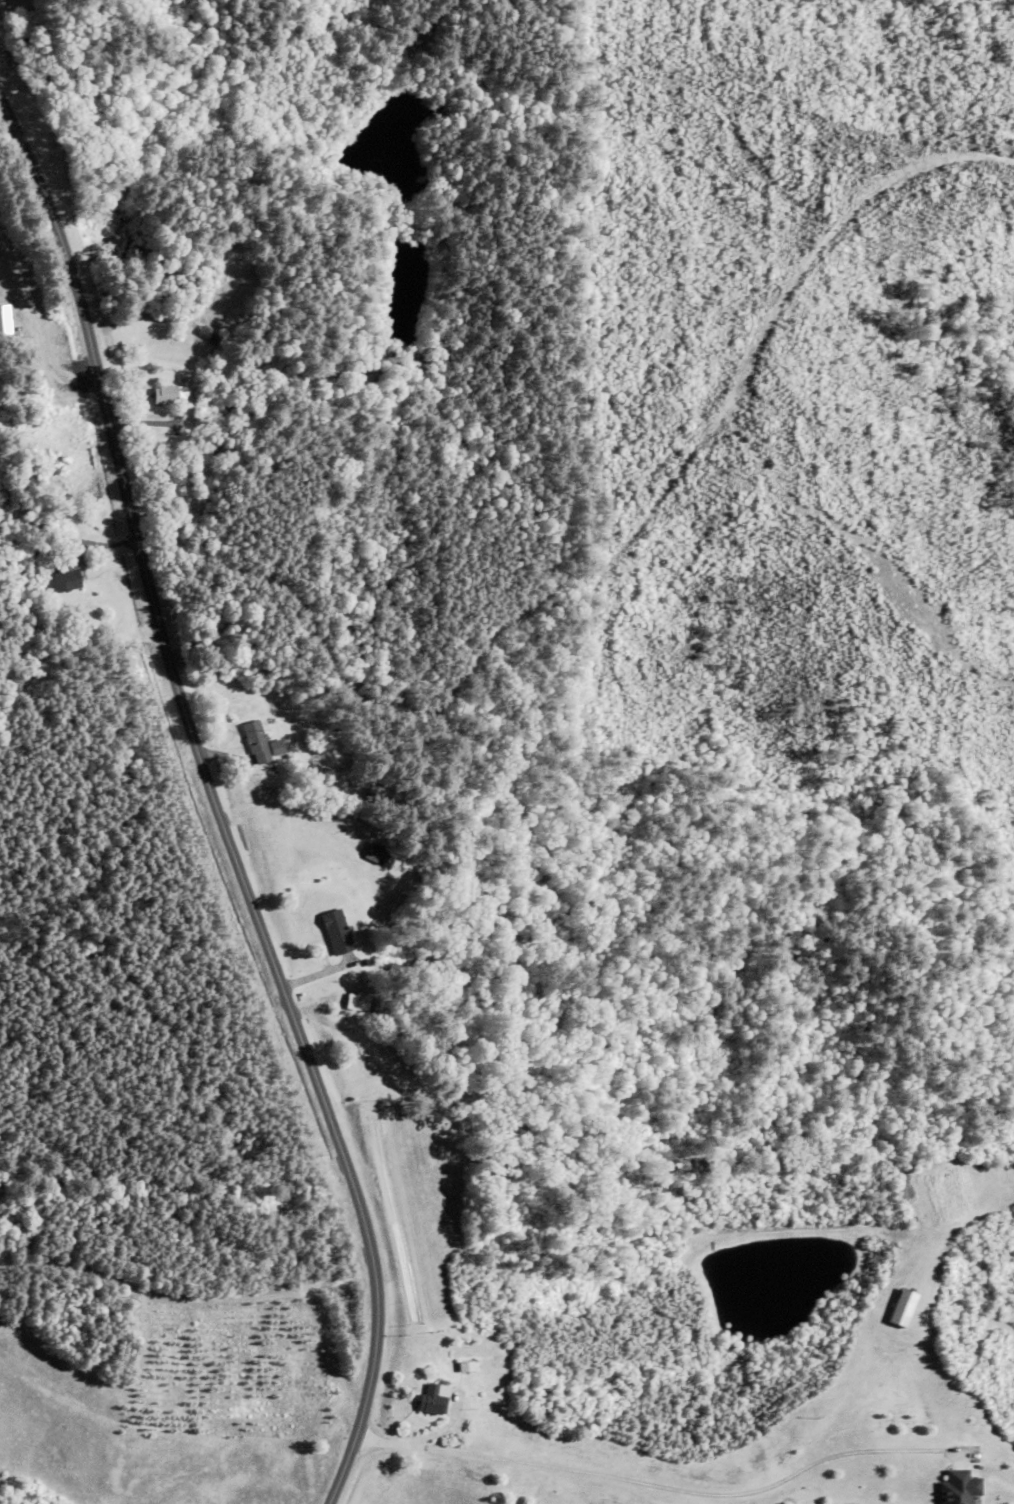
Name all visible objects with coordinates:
building: (4, 320)
building: (208, 336)
building: (169, 395)
building: (27, 474)
building: (65, 577)
building: (262, 744)
road: (194, 835)
building: (374, 853)
building: (336, 932)
building: (356, 1002)
road: (174, 1234)
building: (902, 1308)
building: (434, 1400)
building: (958, 1488)

